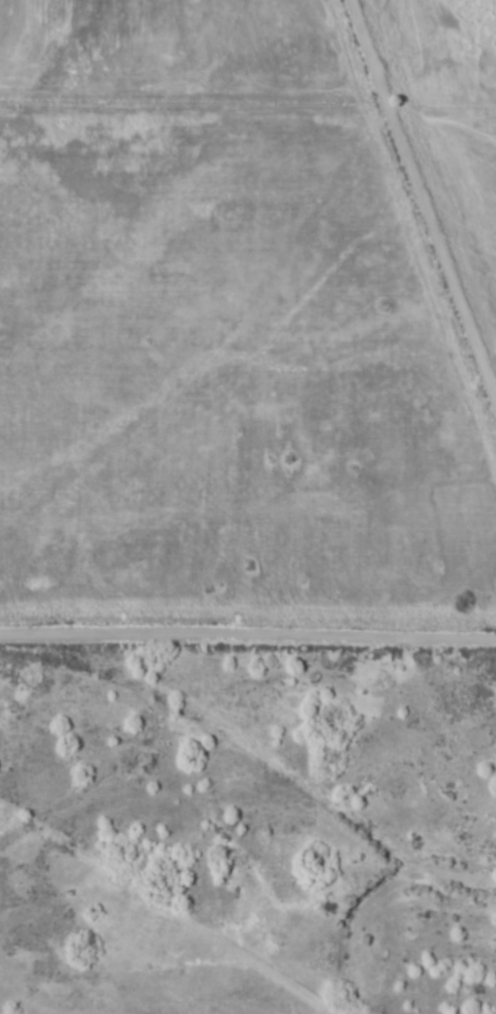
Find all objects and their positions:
road: (248, 623)

